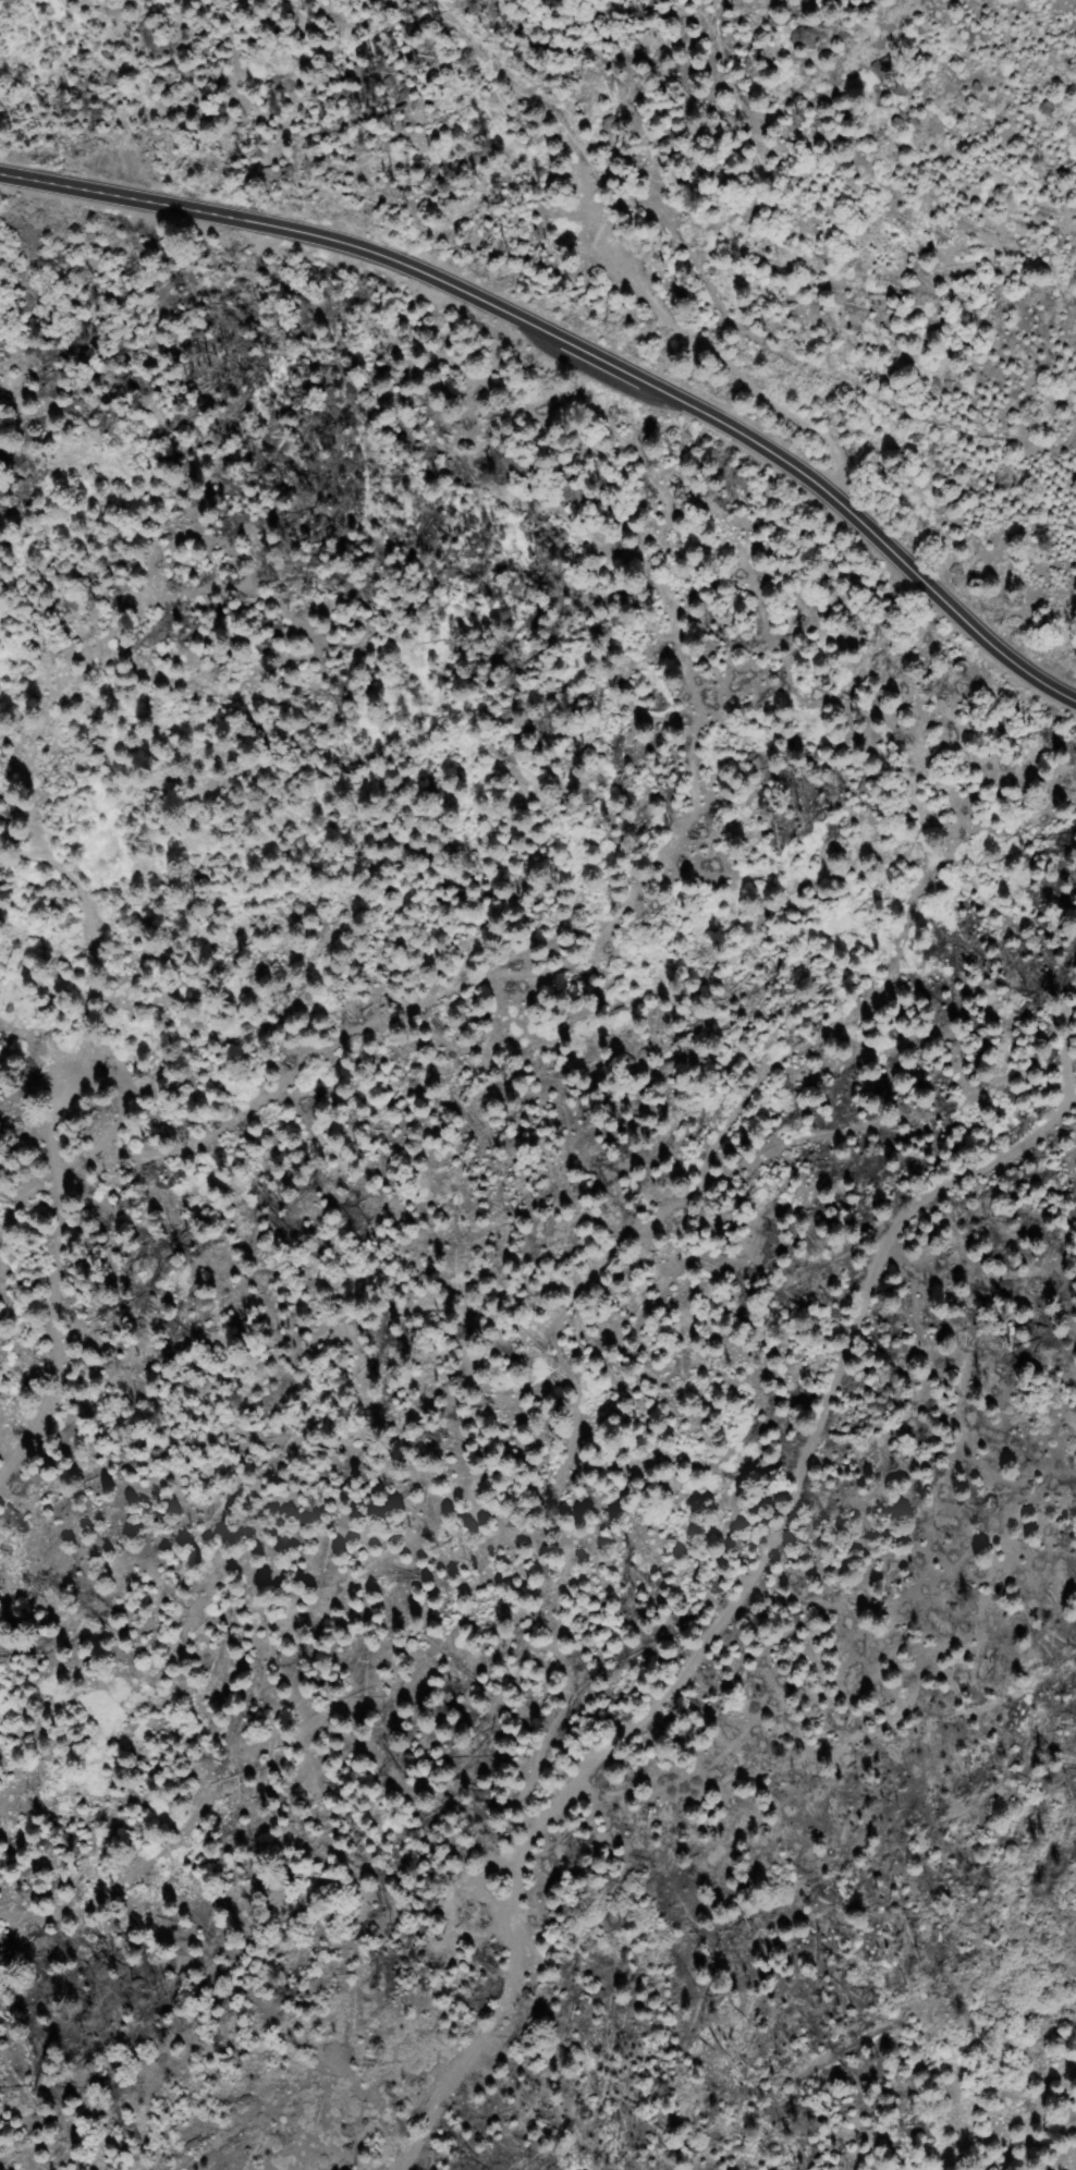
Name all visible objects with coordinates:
road: (578, 353)
road: (58, 1145)
road: (755, 1585)

